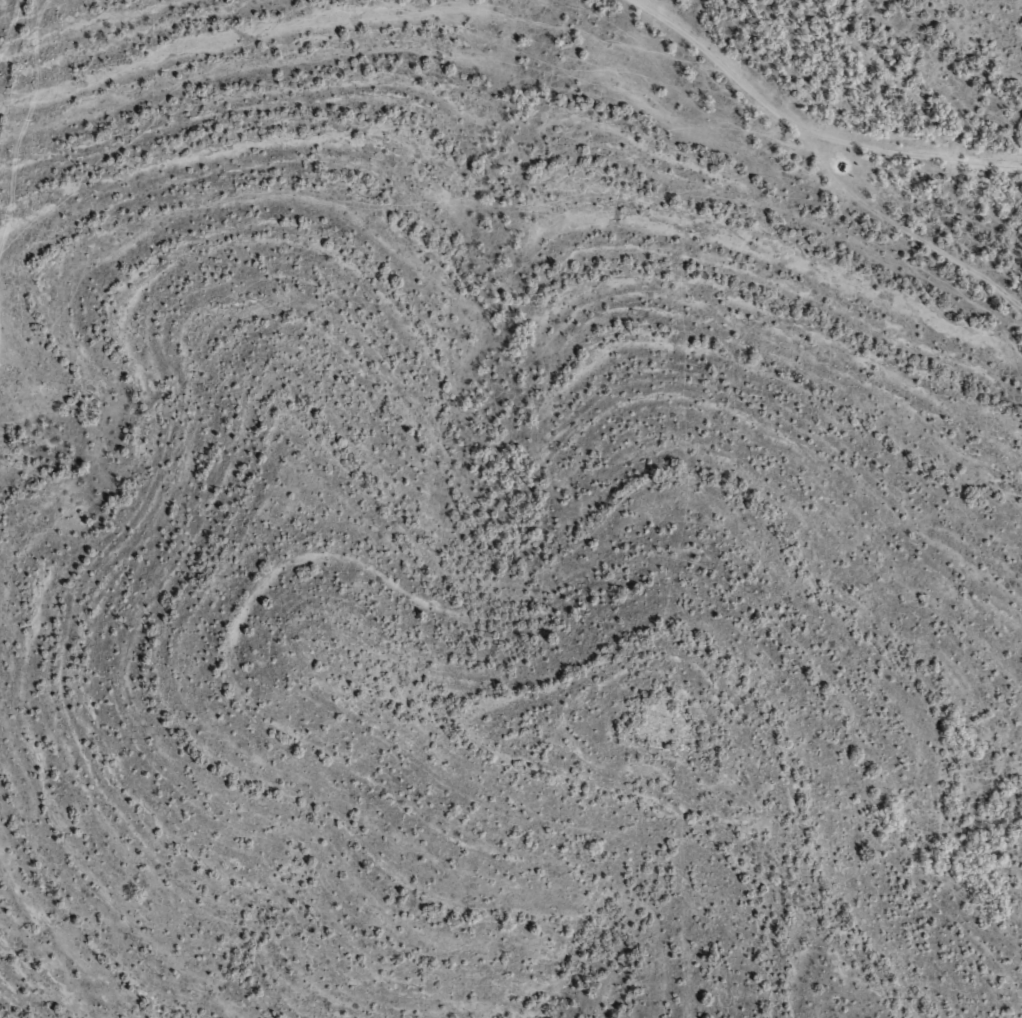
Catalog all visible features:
road: (780, 148)

